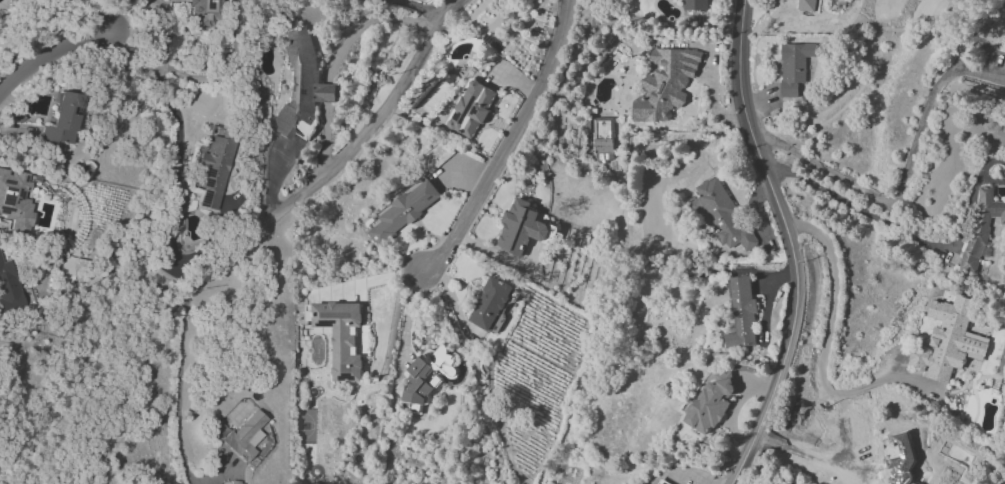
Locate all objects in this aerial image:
building: (842, 0)
building: (694, 5)
building: (807, 5)
road: (421, 8)
road: (93, 13)
building: (202, 13)
road: (366, 23)
road: (53, 55)
building: (794, 67)
building: (665, 84)
building: (300, 86)
road: (326, 92)
building: (470, 108)
building: (62, 120)
road: (371, 123)
building: (602, 135)
road: (324, 137)
road: (509, 143)
road: (988, 163)
building: (212, 173)
road: (992, 180)
road: (903, 187)
building: (15, 201)
building: (404, 211)
building: (721, 215)
road: (890, 225)
building: (520, 227)
road: (790, 244)
building: (9, 288)
building: (489, 303)
building: (741, 313)
building: (341, 337)
building: (948, 340)
road: (182, 358)
building: (427, 375)
road: (823, 377)
building: (712, 401)
building: (246, 437)
building: (657, 483)

